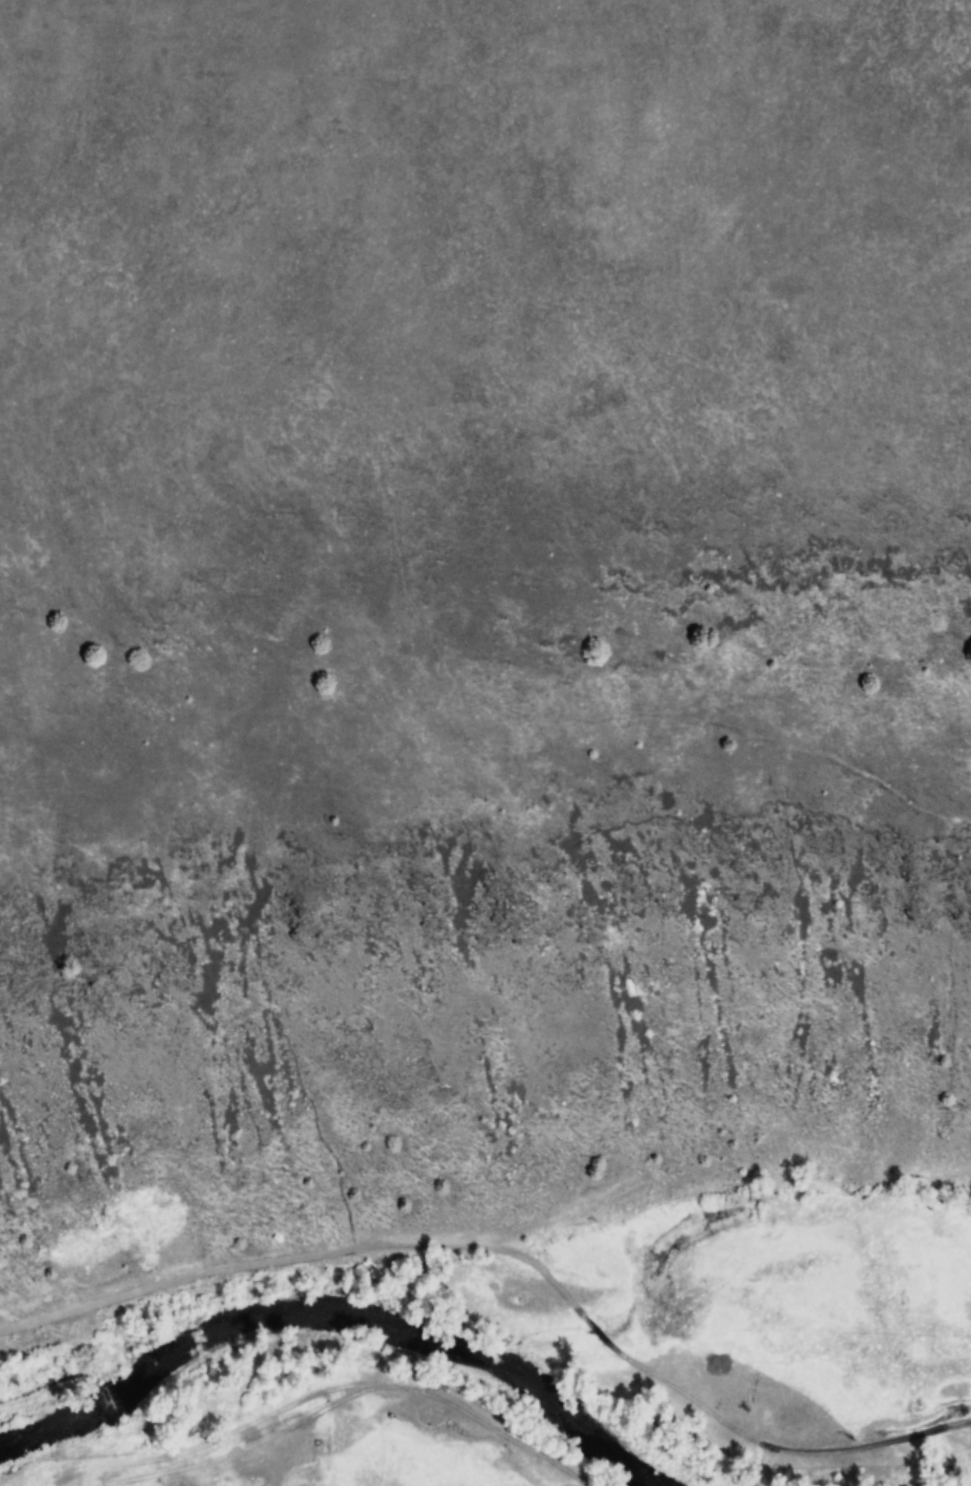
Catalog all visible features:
river: (371, 1310)

